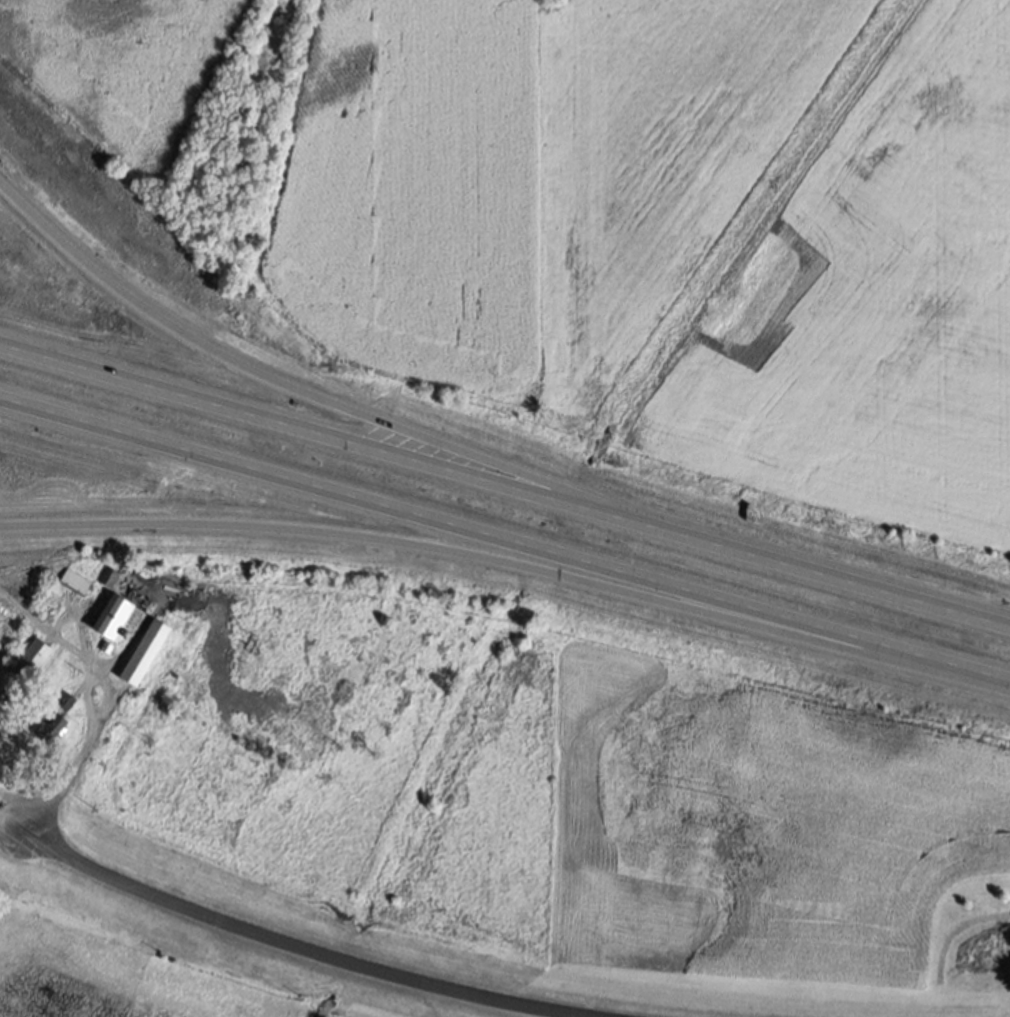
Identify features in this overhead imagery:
airport runway: (712, 210)
road: (314, 395)
road: (505, 485)
road: (505, 548)
road: (511, 564)
building: (108, 576)
building: (75, 581)
building: (117, 617)
building: (144, 652)
building: (31, 659)
building: (67, 701)
building: (51, 725)
road: (74, 768)
road: (307, 949)
road: (553, 1013)

